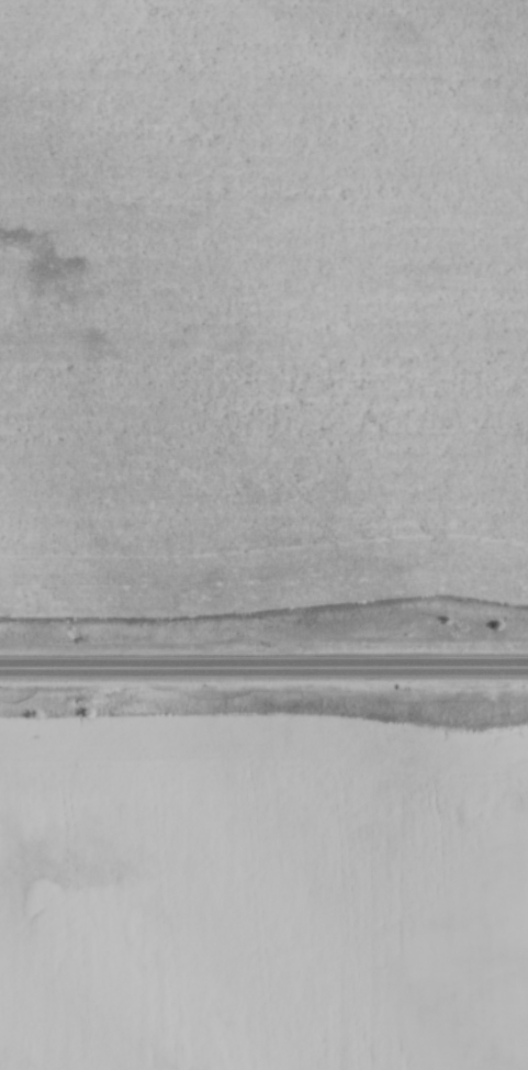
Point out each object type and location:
road: (263, 672)

